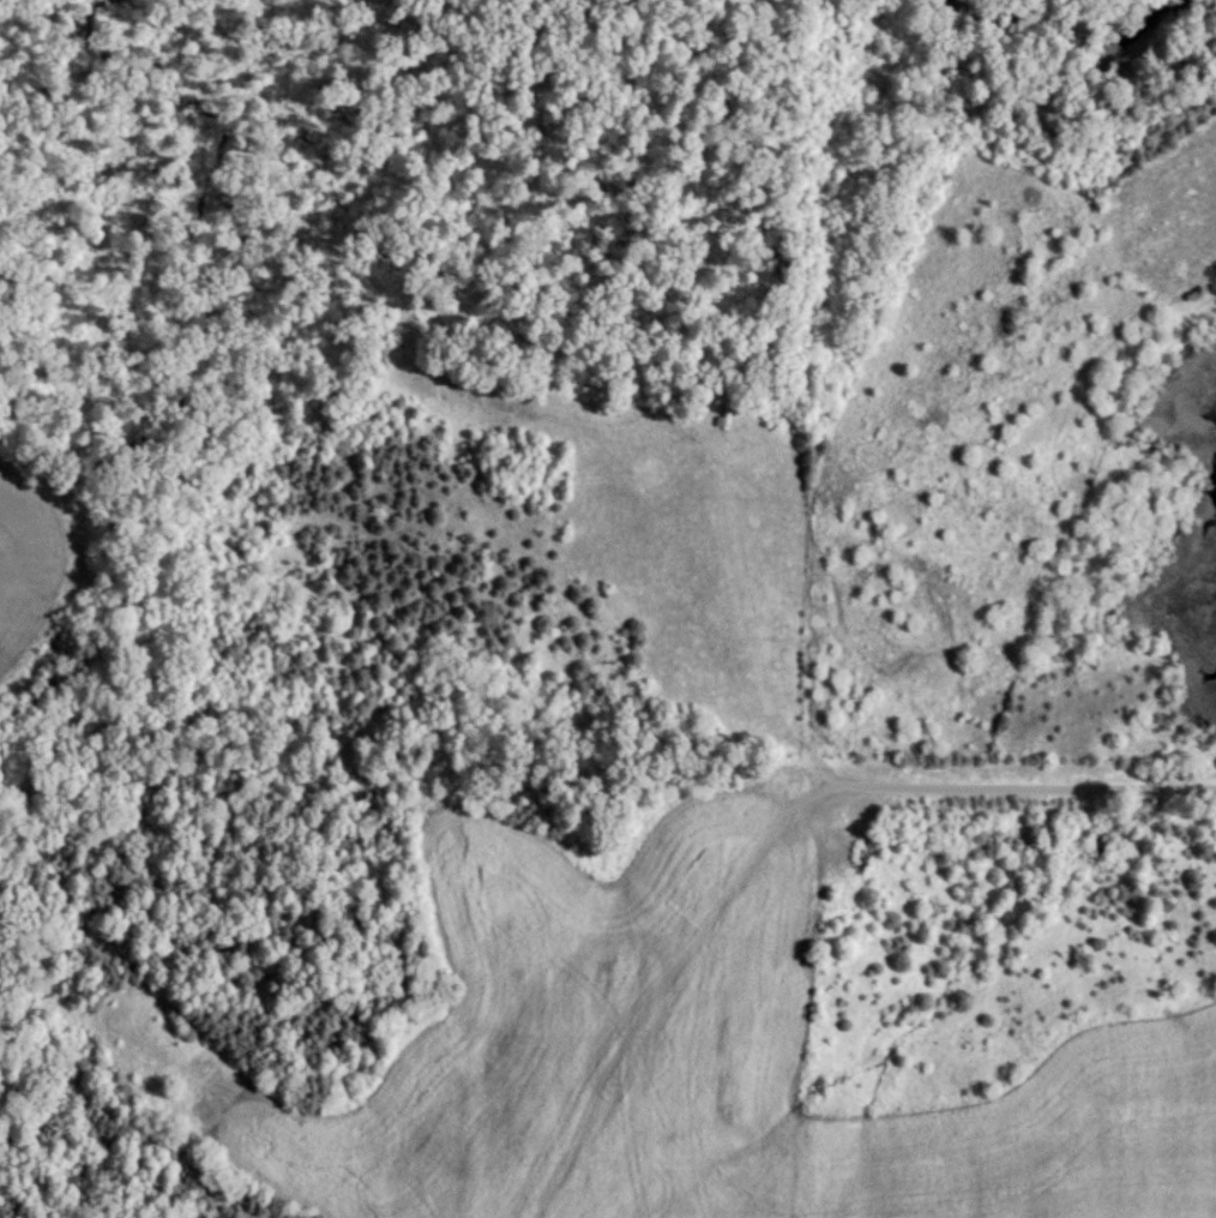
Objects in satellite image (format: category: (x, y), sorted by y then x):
road: (1034, 787)

